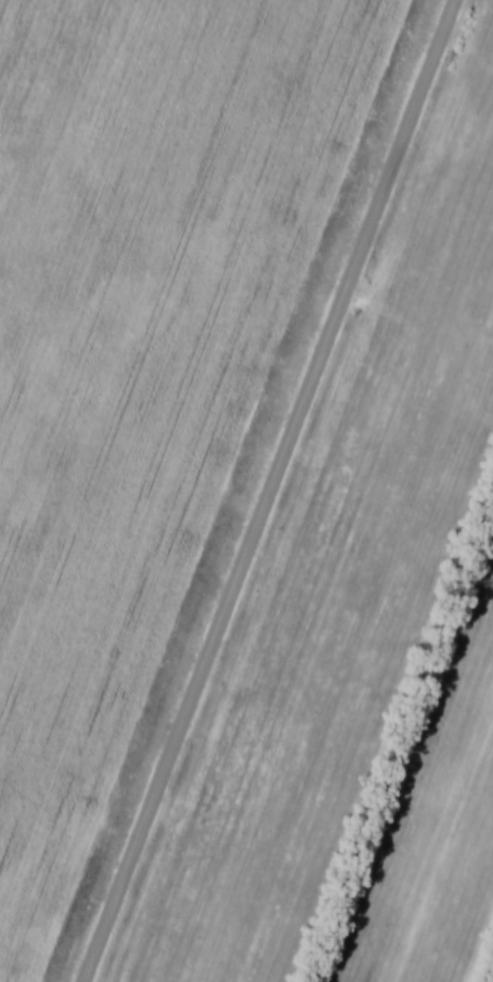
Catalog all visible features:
road: (267, 490)

